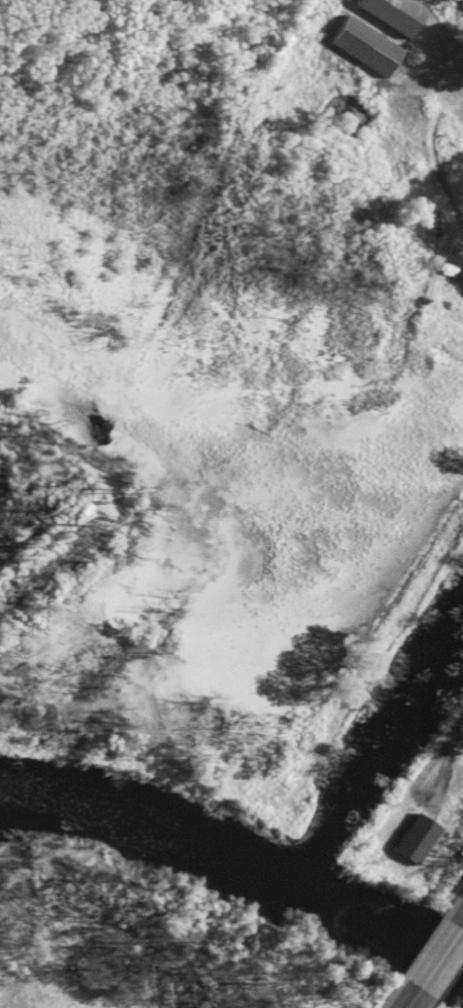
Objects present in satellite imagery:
building: (392, 13)
building: (362, 46)
building: (446, 269)
road: (447, 768)
building: (418, 838)
river: (240, 861)
road: (462, 926)
road: (440, 958)
road: (413, 998)

